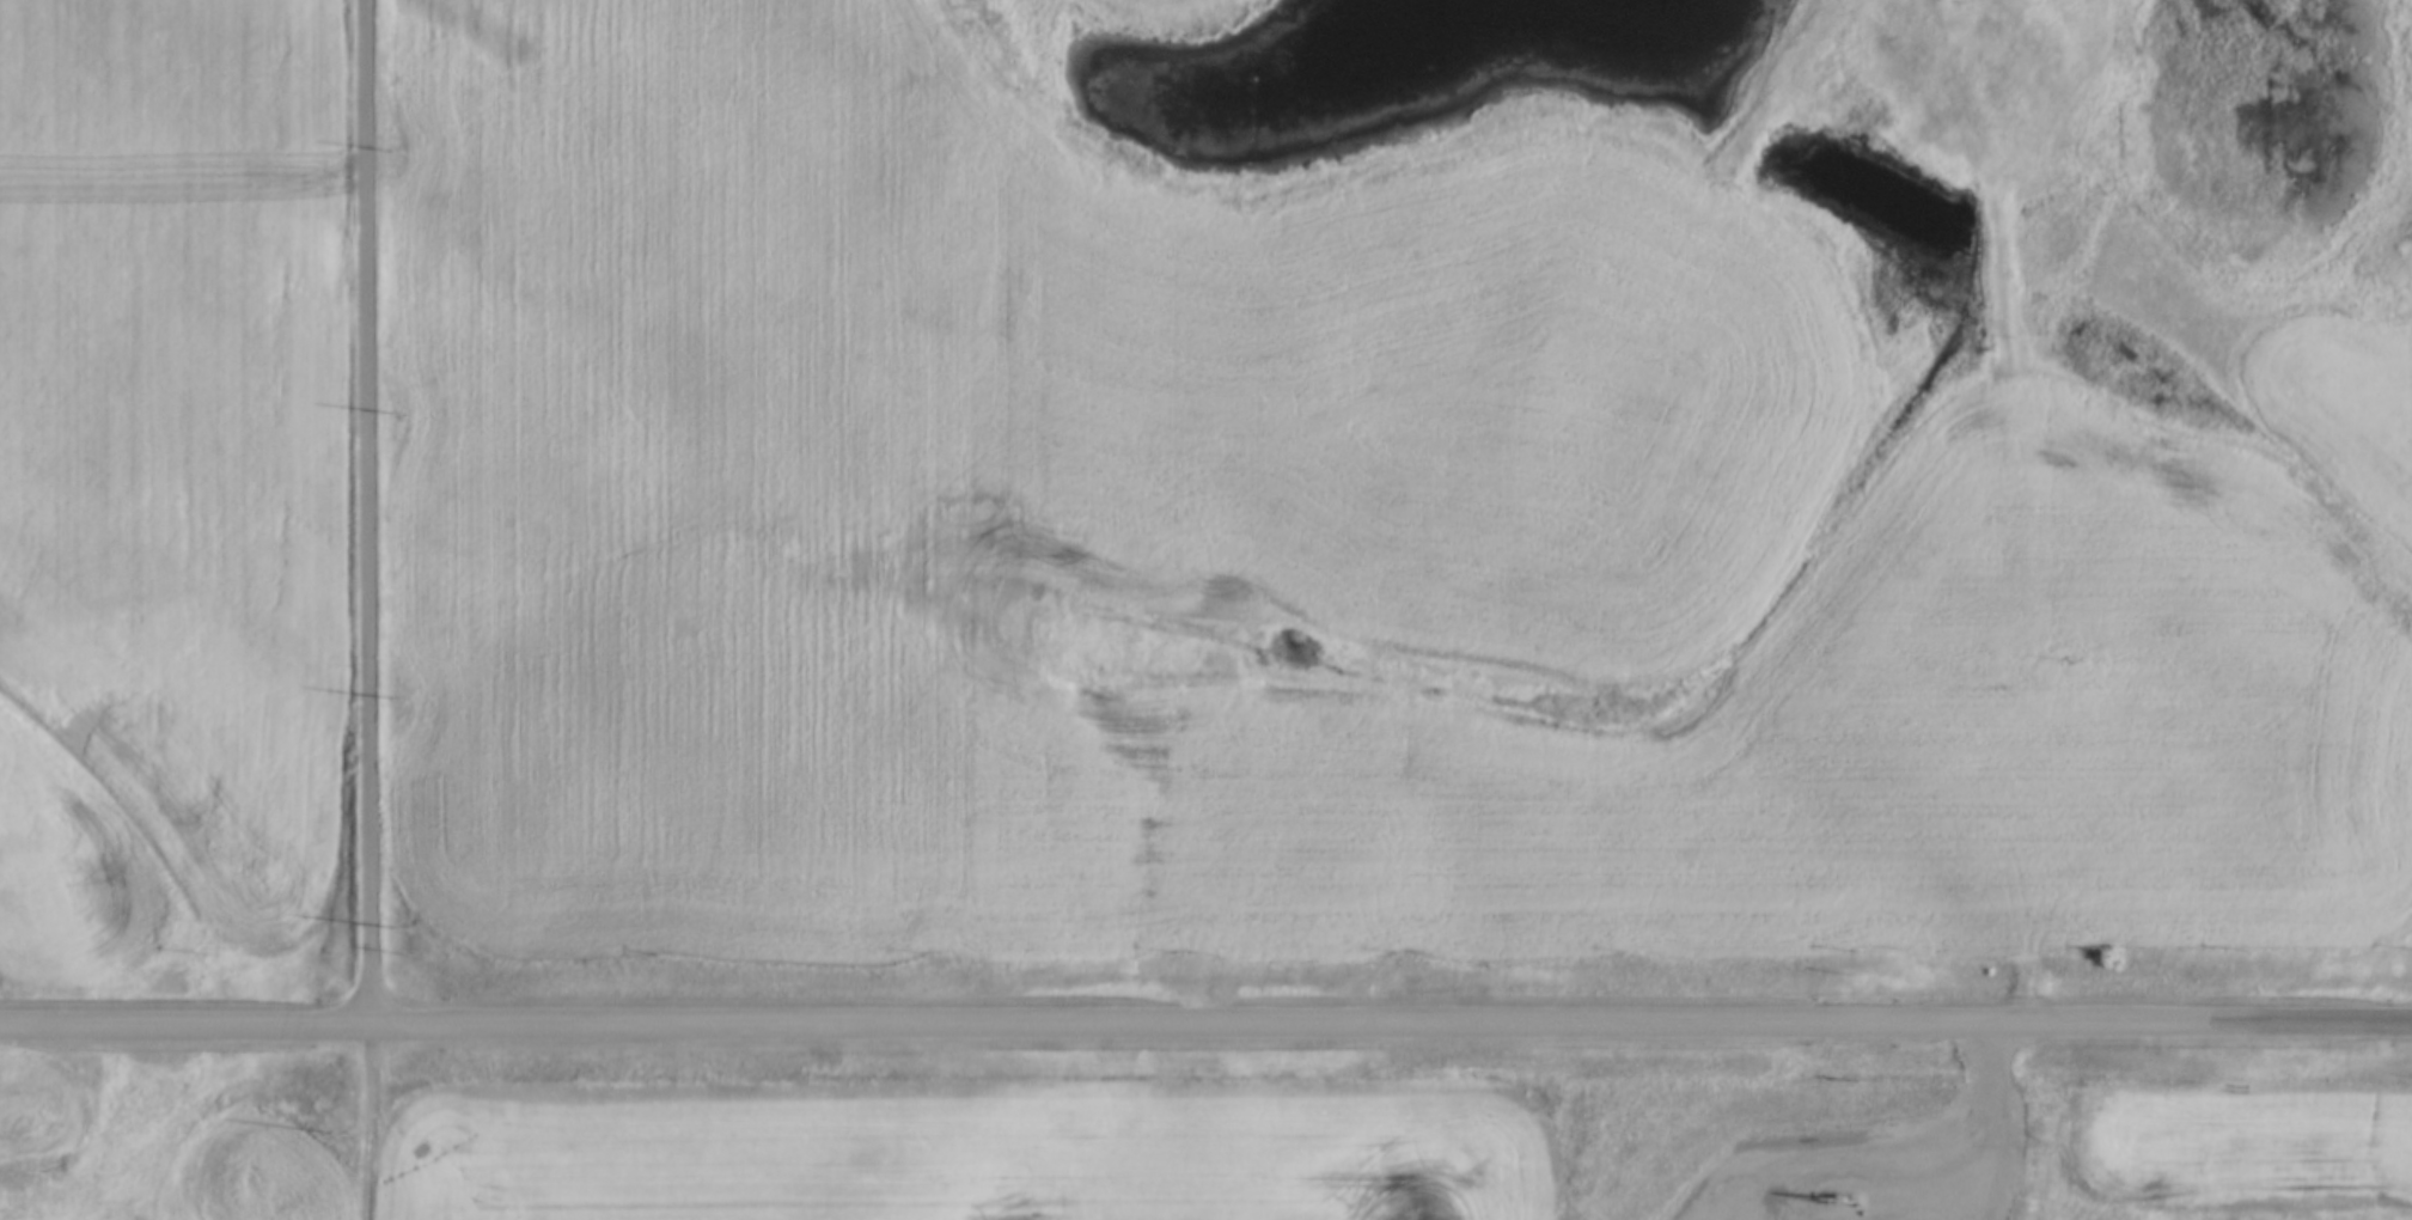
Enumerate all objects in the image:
road: (372, 512)
road: (1205, 1021)
road: (368, 1123)

